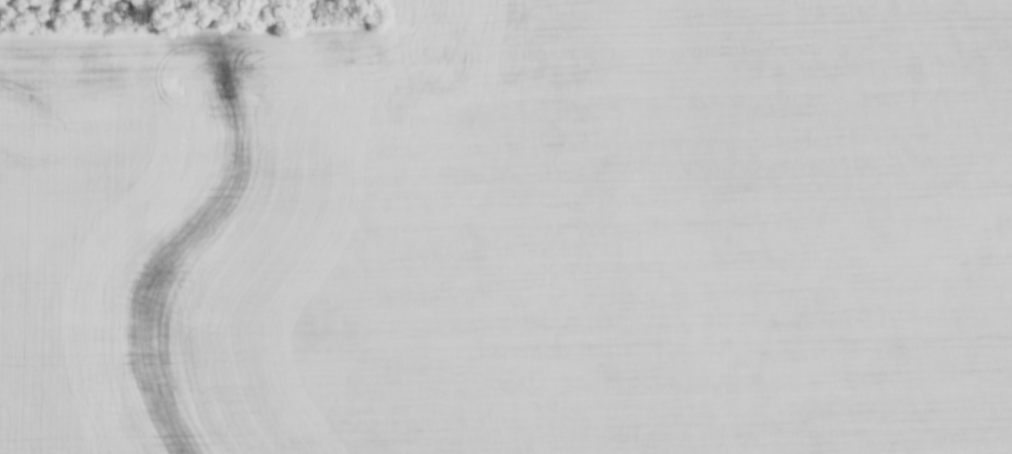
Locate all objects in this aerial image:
crop: (513, 232)

